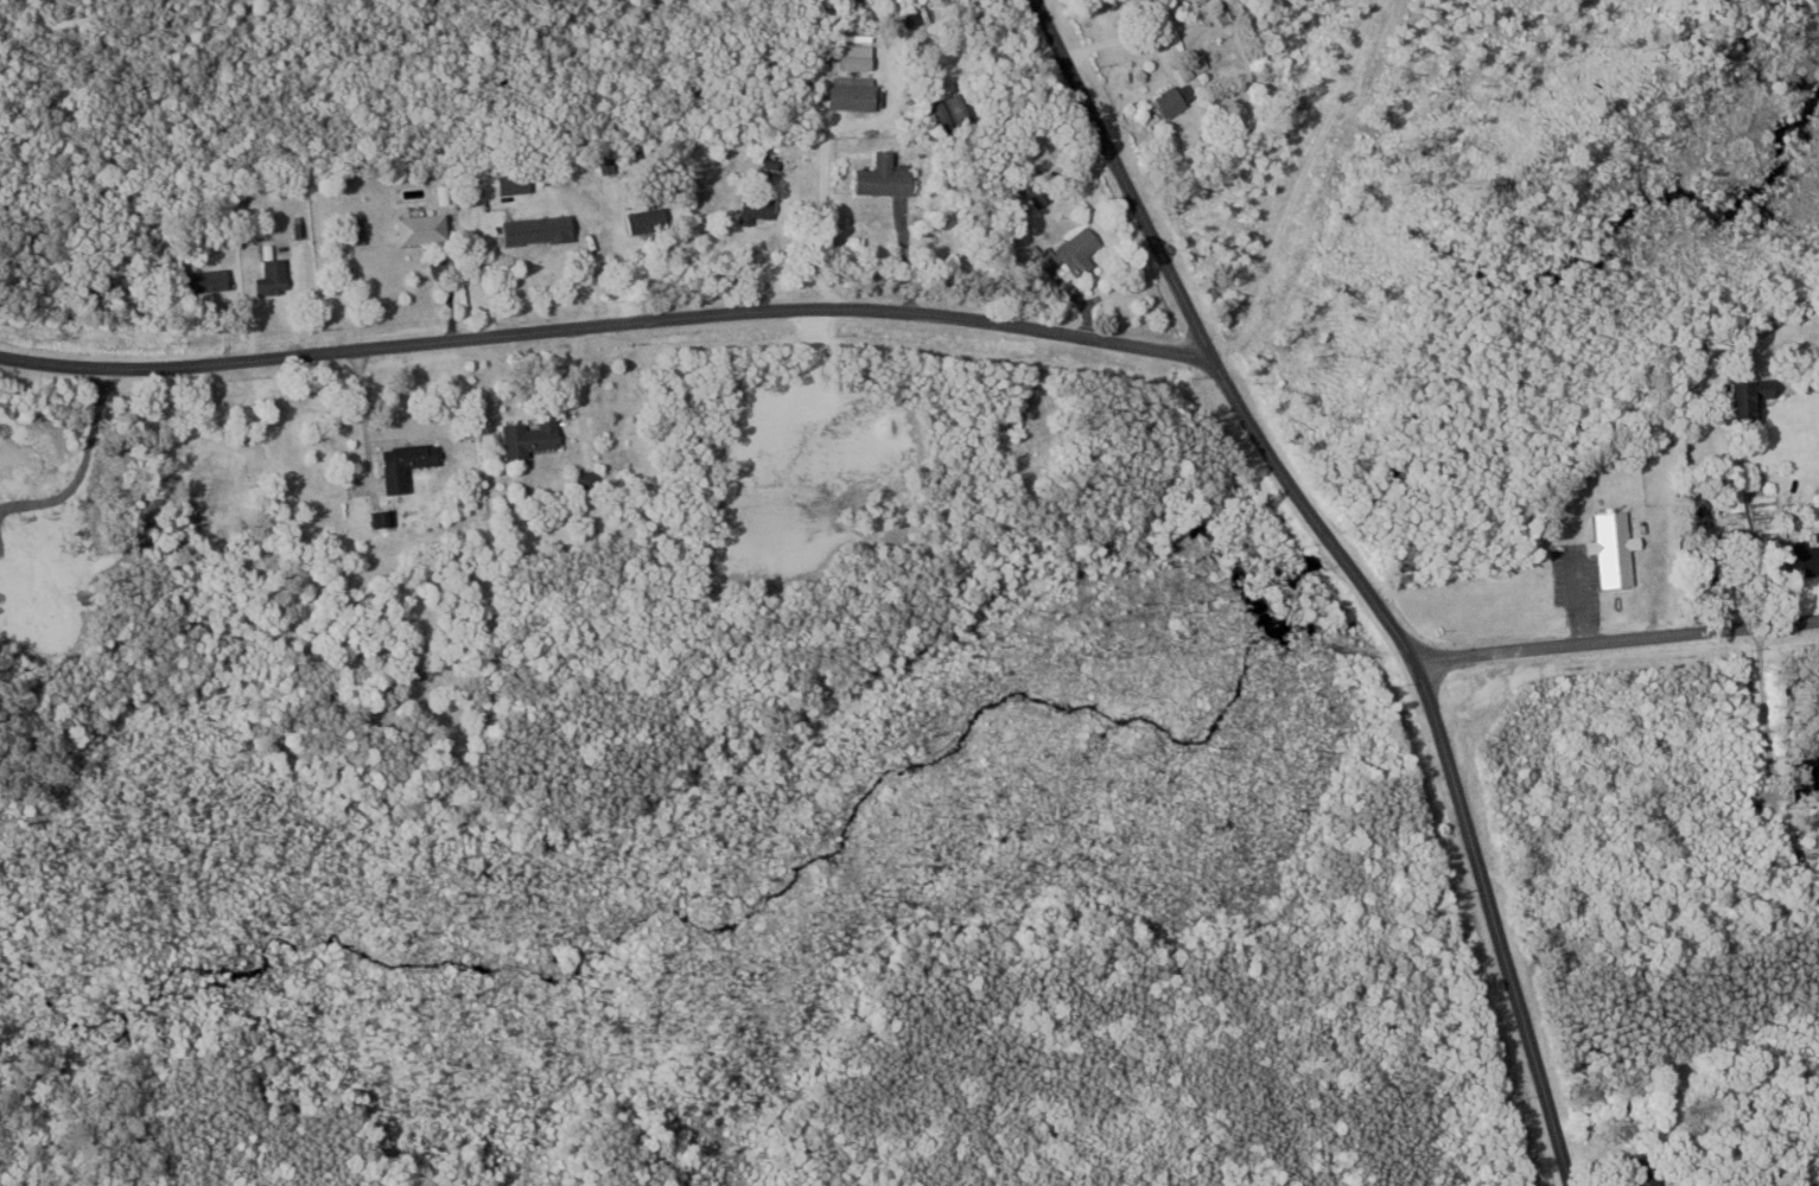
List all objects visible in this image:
building: (1189, 71)
building: (858, 93)
building: (1179, 97)
building: (966, 109)
building: (612, 165)
building: (890, 176)
building: (522, 183)
building: (1044, 193)
building: (762, 205)
building: (651, 219)
building: (427, 228)
building: (542, 229)
building: (1082, 251)
road: (907, 257)
building: (214, 275)
road: (604, 325)
road: (578, 390)
road: (1806, 393)
building: (1760, 397)
road: (364, 415)
building: (535, 434)
building: (411, 461)
building: (384, 516)
building: (1620, 548)
building: (1811, 560)
road: (1353, 572)
road: (1616, 640)
road: (1763, 712)
building: (1654, 1168)

